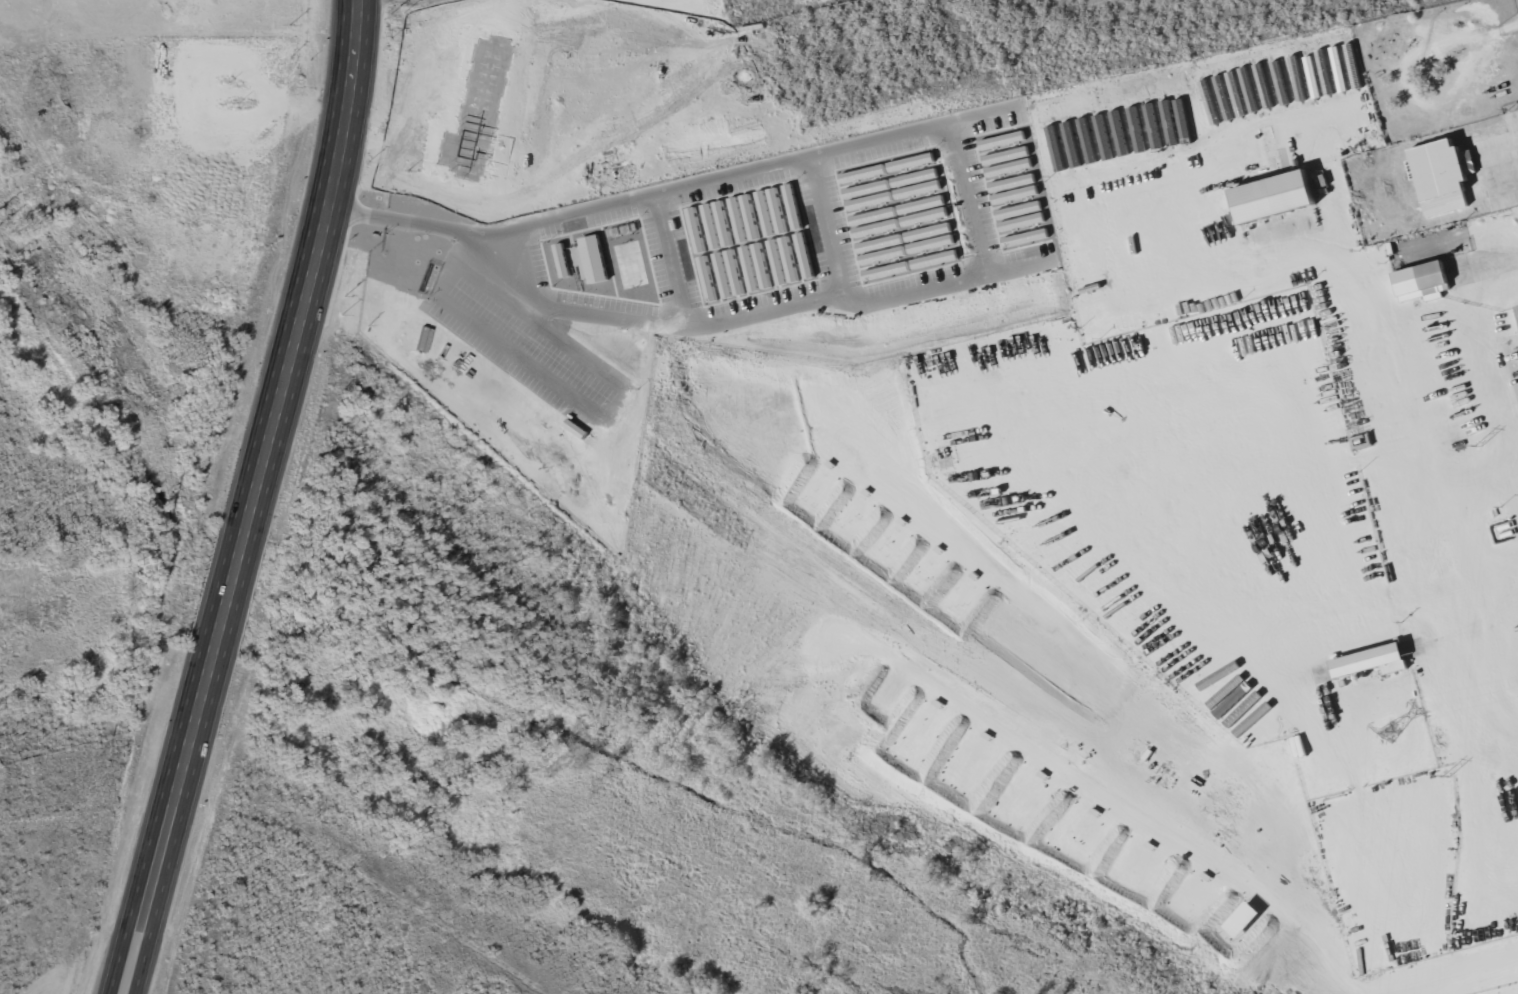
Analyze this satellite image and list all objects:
building: (1294, 62)
building: (1354, 66)
building: (1339, 69)
building: (1313, 77)
building: (1281, 83)
building: (1264, 86)
building: (1248, 89)
building: (1235, 94)
building: (1223, 98)
building: (1150, 111)
building: (1166, 111)
building: (1137, 129)
building: (1120, 132)
building: (1104, 136)
building: (1088, 140)
building: (1073, 144)
building: (1057, 148)
road: (954, 151)
building: (1007, 161)
building: (888, 167)
building: (1443, 176)
building: (1012, 182)
building: (889, 183)
building: (919, 189)
building: (1015, 194)
building: (1281, 196)
building: (870, 200)
building: (922, 204)
building: (793, 206)
building: (1019, 209)
building: (765, 213)
building: (873, 216)
building: (925, 216)
building: (750, 217)
building: (738, 220)
building: (1022, 221)
building: (723, 223)
road: (824, 226)
building: (876, 227)
building: (929, 231)
building: (1025, 238)
building: (880, 243)
building: (931, 243)
building: (801, 244)
building: (884, 255)
road: (673, 257)
building: (596, 259)
building: (789, 259)
building: (563, 260)
building: (581, 261)
building: (762, 265)
building: (748, 268)
building: (734, 272)
building: (1426, 281)
road: (1414, 324)
road: (590, 412)
power tower: (1477, 446)
road: (252, 499)
park: (79, 565)
building: (1377, 661)
power tower: (1390, 733)
power tower: (1445, 777)

